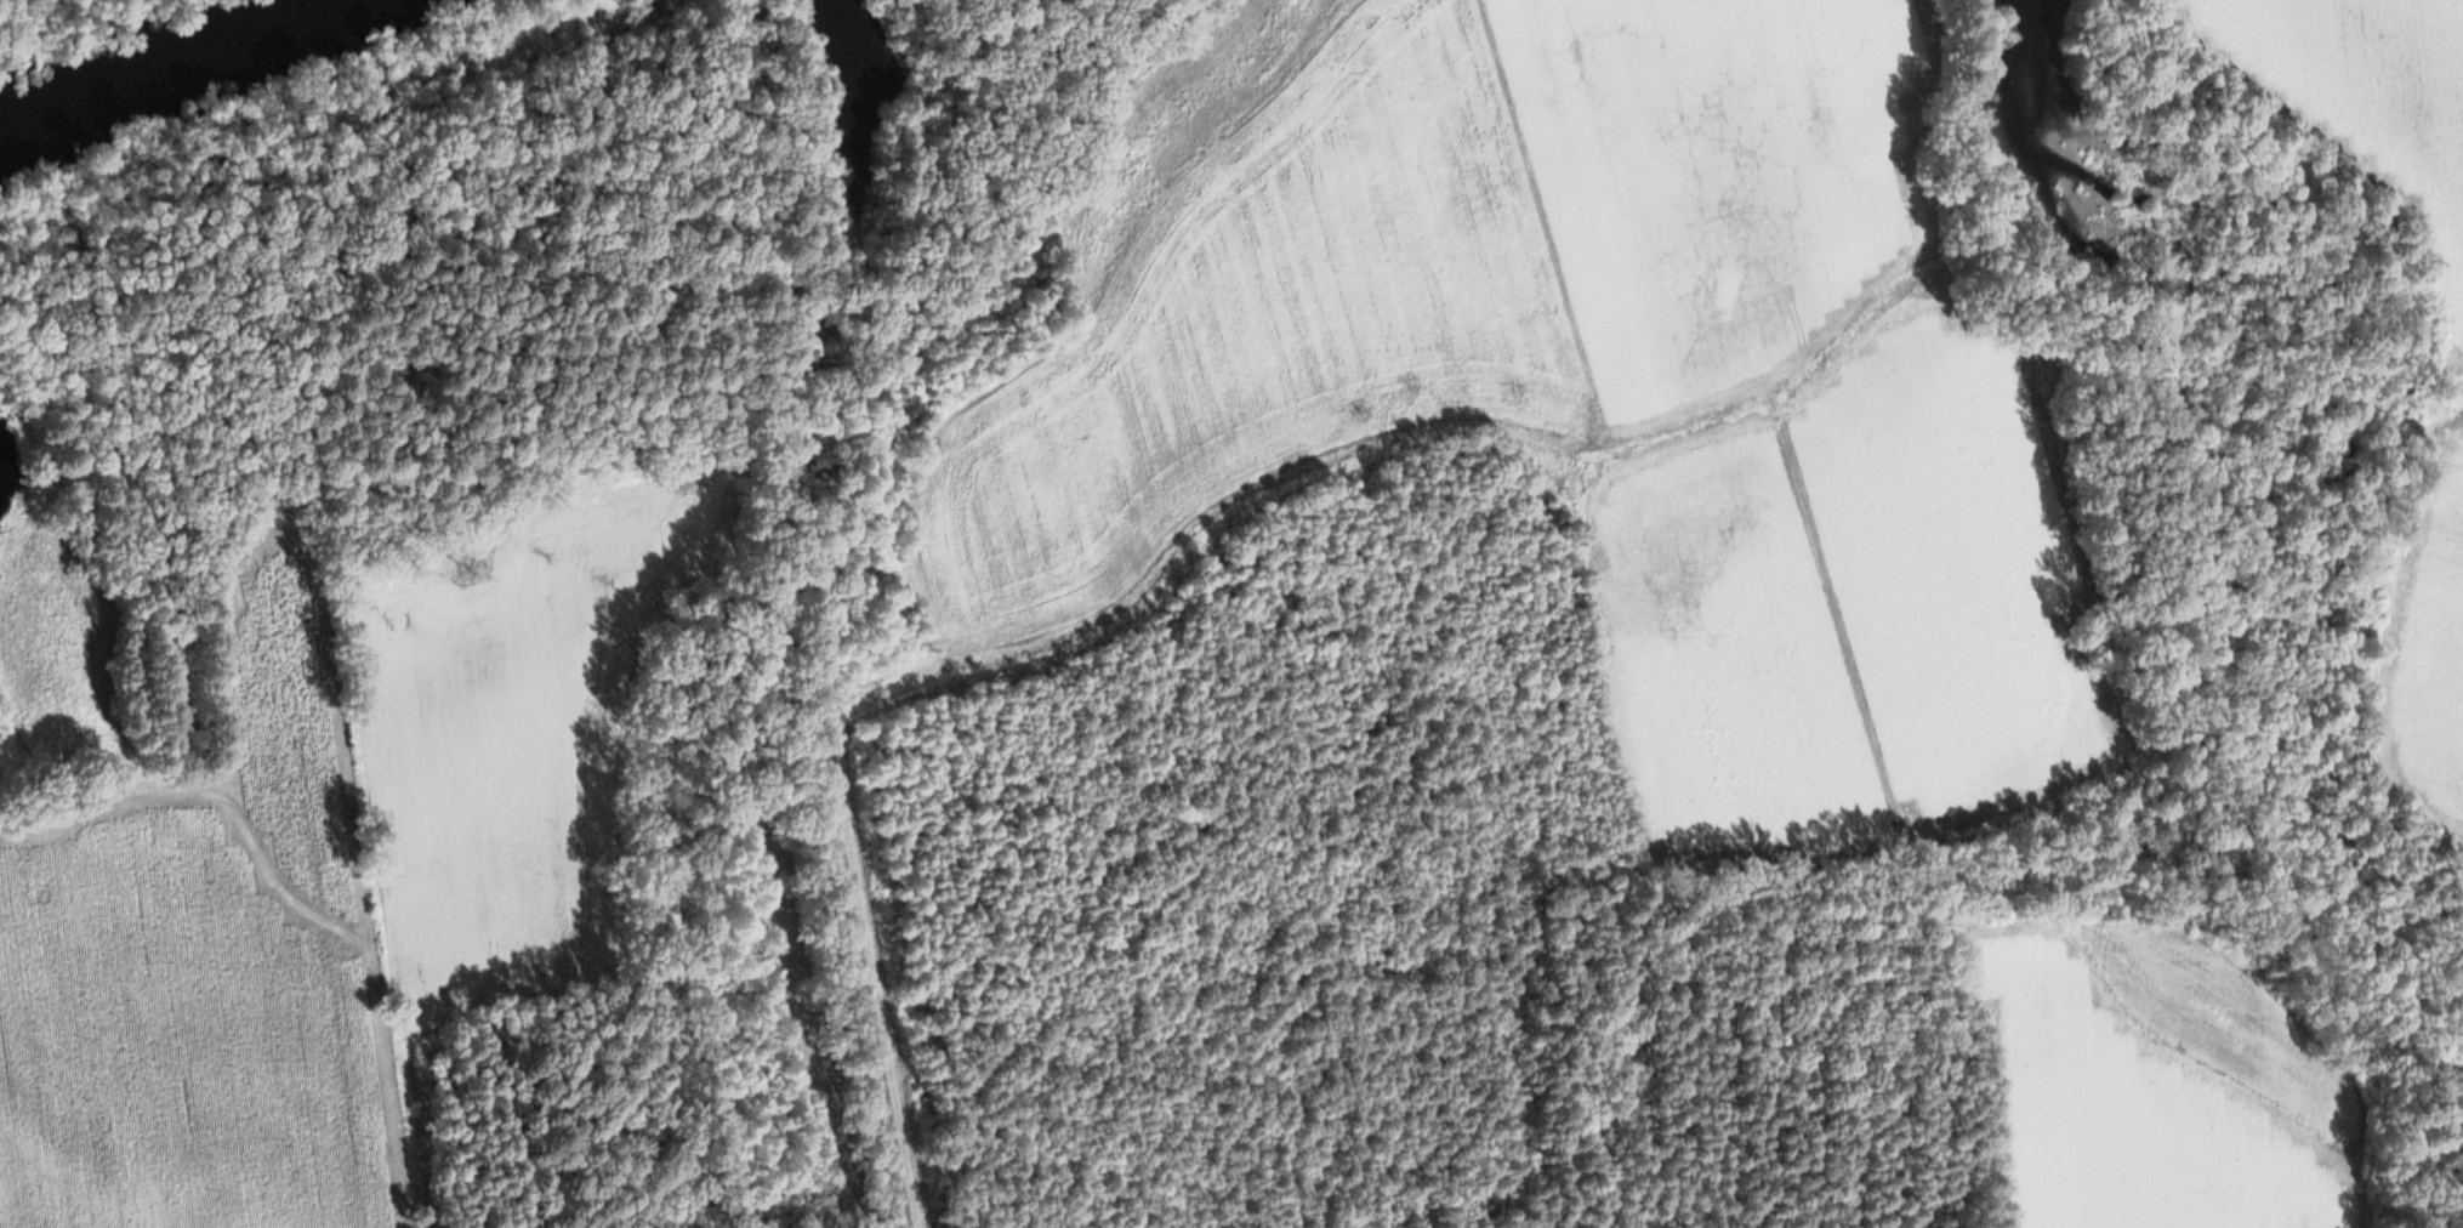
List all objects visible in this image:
river: (160, 62)

